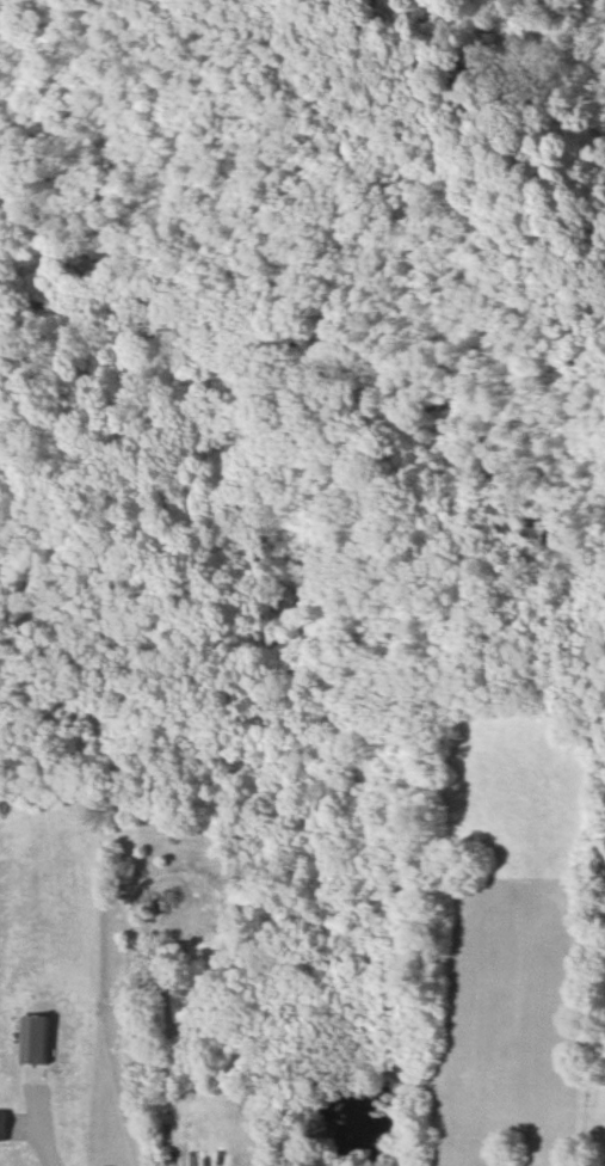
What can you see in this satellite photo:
crop: (54, 895)
crop: (505, 945)
building: (38, 1038)
road: (42, 1122)
building: (4, 1124)

